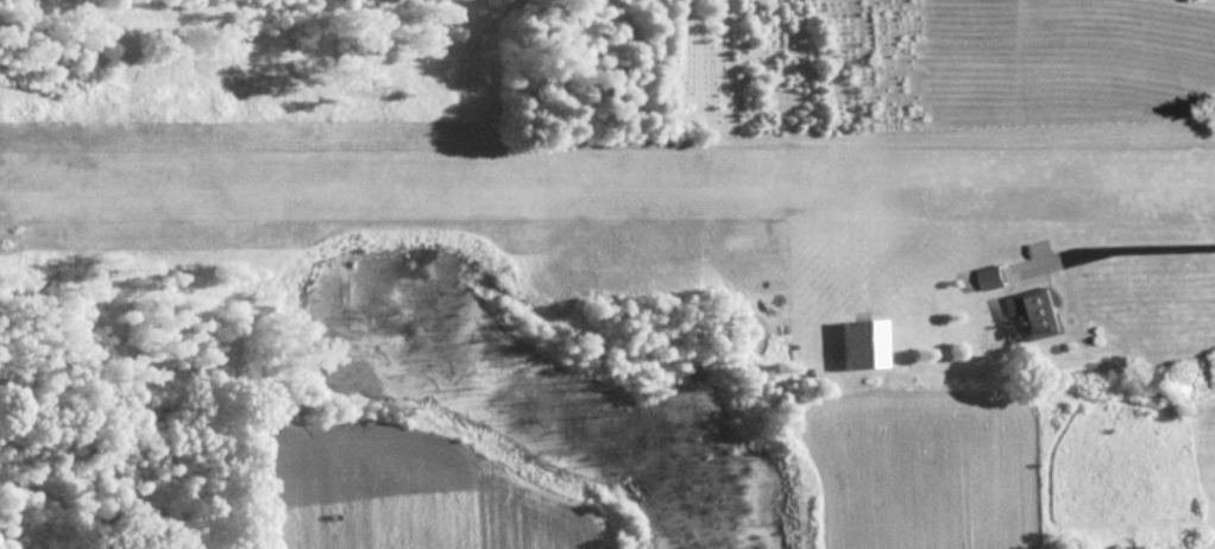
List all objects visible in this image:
road: (1129, 250)
building: (990, 278)
building: (1033, 315)
building: (869, 345)

